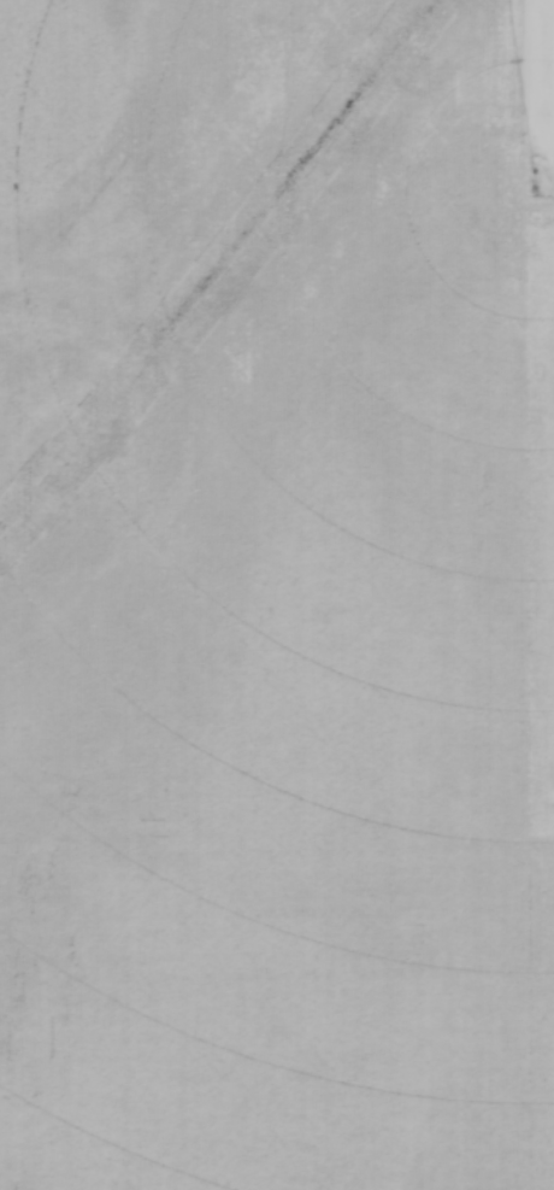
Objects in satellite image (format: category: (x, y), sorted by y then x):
crop: (277, 594)

